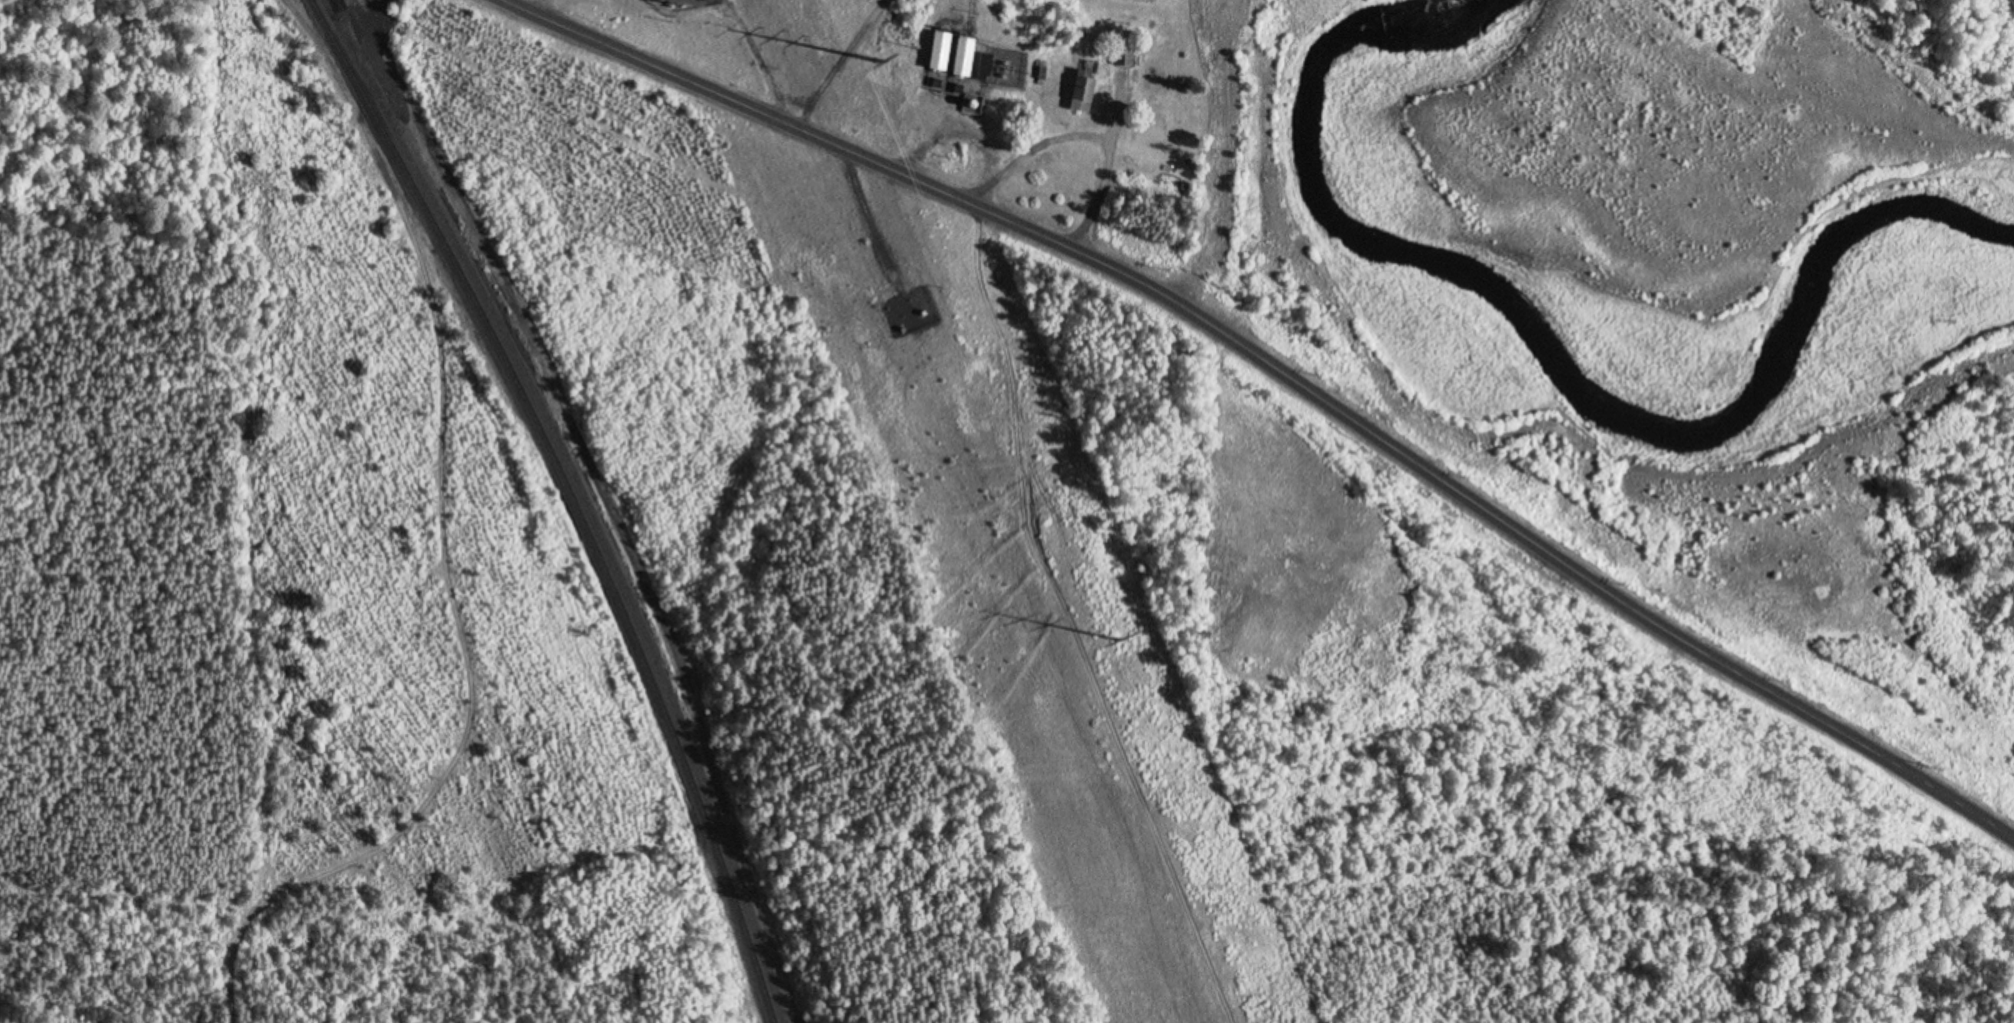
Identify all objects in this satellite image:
road: (369, 3)
power substation: (682, 4)
building: (950, 57)
building: (1129, 60)
power tower: (878, 61)
building: (984, 69)
building: (1084, 96)
river: (1719, 195)
building: (908, 317)
road: (1282, 374)
railway: (575, 497)
railway: (587, 497)
road: (610, 501)
road: (449, 553)
power tower: (1117, 640)

